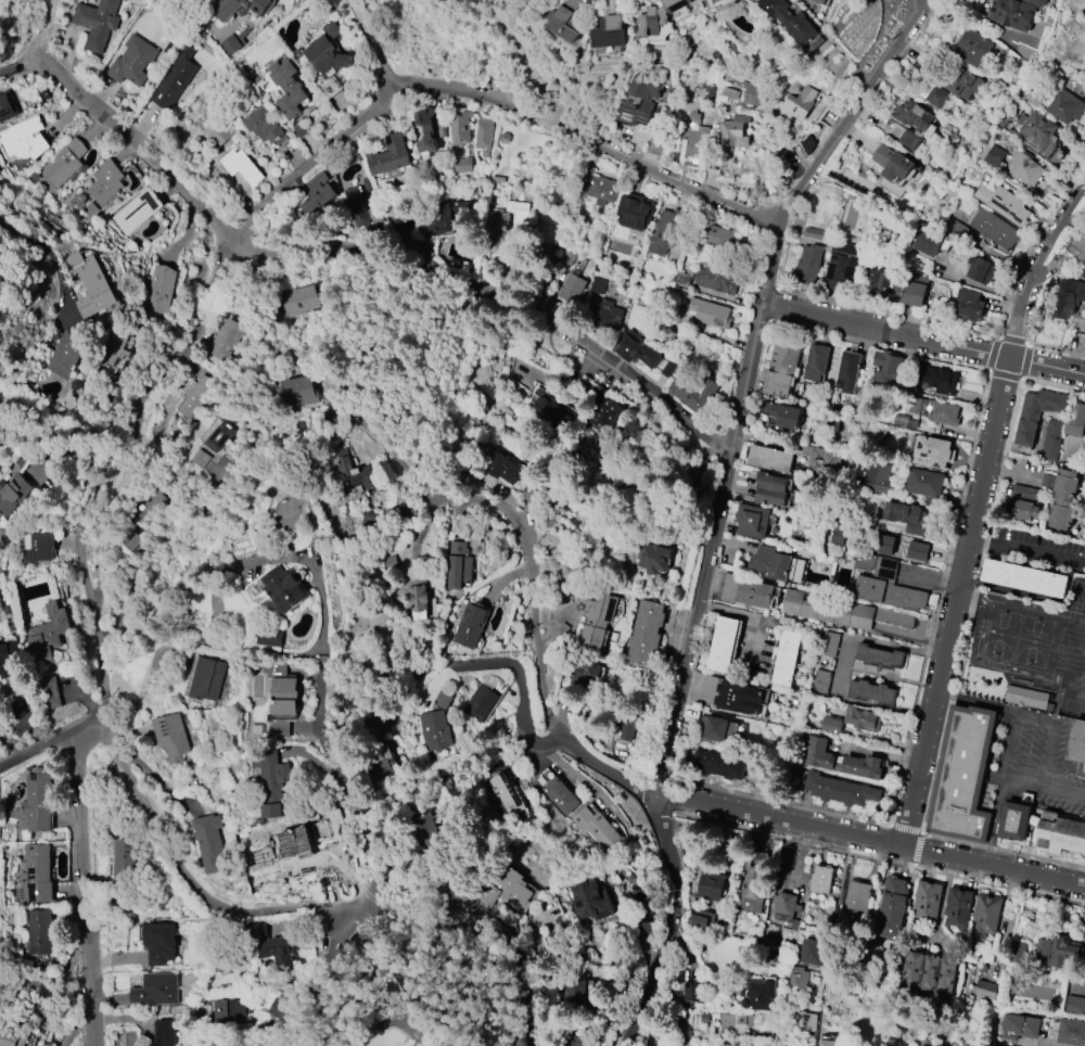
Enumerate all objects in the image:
building: (194, 0)
building: (820, 2)
building: (718, 4)
building: (239, 8)
building: (1016, 12)
building: (658, 20)
building: (791, 20)
building: (98, 22)
building: (564, 23)
road: (53, 30)
building: (609, 33)
road: (376, 42)
building: (233, 43)
building: (972, 47)
building: (132, 61)
building: (328, 61)
road: (529, 64)
road: (22, 66)
building: (175, 80)
building: (962, 82)
building: (288, 87)
building: (752, 91)
building: (935, 97)
building: (640, 100)
building: (800, 102)
building: (7, 105)
building: (1065, 106)
building: (912, 115)
building: (1003, 120)
building: (264, 126)
building: (431, 127)
building: (460, 128)
building: (736, 131)
building: (217, 132)
building: (1037, 132)
building: (484, 136)
building: (25, 139)
building: (909, 139)
road: (596, 141)
building: (694, 142)
building: (991, 154)
building: (390, 157)
building: (894, 163)
building: (66, 165)
building: (463, 165)
building: (242, 166)
building: (1024, 166)
building: (106, 181)
building: (599, 188)
building: (316, 196)
road: (276, 200)
building: (1005, 204)
building: (357, 206)
building: (137, 211)
building: (636, 211)
building: (448, 217)
road: (787, 219)
road: (1059, 219)
building: (994, 229)
building: (957, 230)
building: (664, 232)
building: (815, 233)
building: (718, 238)
building: (931, 242)
building: (1077, 248)
building: (955, 252)
road: (376, 259)
building: (809, 261)
road: (51, 264)
building: (981, 270)
building: (838, 272)
building: (1081, 272)
building: (883, 275)
road: (1021, 275)
building: (715, 280)
building: (88, 282)
building: (598, 284)
road: (771, 286)
building: (572, 288)
building: (161, 289)
building: (910, 290)
building: (1068, 298)
building: (302, 299)
road: (853, 304)
building: (971, 305)
road: (776, 306)
building: (711, 312)
building: (607, 314)
road: (766, 323)
building: (225, 339)
road: (923, 340)
road: (1013, 341)
building: (1084, 346)
building: (115, 347)
road: (882, 348)
building: (637, 349)
road: (1056, 350)
building: (67, 354)
road: (996, 355)
road: (1024, 361)
building: (816, 362)
building: (782, 367)
building: (885, 368)
building: (668, 369)
building: (847, 372)
road: (1007, 374)
building: (935, 380)
road: (1054, 385)
building: (180, 390)
building: (299, 392)
building: (693, 393)
building: (194, 396)
building: (931, 408)
building: (549, 410)
building: (601, 410)
road: (754, 410)
building: (1035, 414)
building: (787, 416)
building: (899, 420)
building: (1074, 420)
building: (219, 435)
building: (1051, 439)
building: (931, 451)
building: (770, 459)
road: (396, 462)
building: (503, 469)
building: (355, 471)
building: (877, 475)
building: (1048, 480)
building: (924, 483)
building: (1067, 484)
building: (773, 489)
building: (13, 494)
road: (728, 494)
building: (157, 502)
building: (1023, 503)
road: (717, 509)
road: (978, 510)
building: (1061, 514)
building: (910, 518)
building: (751, 521)
building: (885, 543)
building: (36, 546)
building: (917, 550)
road: (1023, 550)
building: (652, 558)
building: (387, 563)
building: (776, 564)
building: (458, 565)
building: (1025, 578)
building: (884, 583)
building: (281, 587)
road: (87, 588)
building: (746, 591)
building: (418, 597)
road: (941, 598)
road: (970, 605)
building: (840, 611)
road: (749, 617)
building: (595, 618)
building: (470, 624)
building: (561, 630)
building: (646, 632)
building: (48, 633)
road: (536, 635)
building: (270, 637)
building: (723, 645)
road: (270, 651)
building: (878, 656)
building: (786, 658)
building: (10, 659)
road: (322, 659)
building: (824, 663)
road: (477, 664)
road: (152, 672)
building: (586, 675)
building: (206, 678)
building: (282, 691)
building: (871, 691)
building: (49, 692)
building: (1027, 694)
building: (738, 698)
building: (442, 699)
building: (480, 703)
building: (863, 719)
road: (1049, 723)
building: (831, 725)
building: (714, 729)
building: (433, 730)
building: (630, 735)
building: (171, 736)
road: (533, 740)
road: (44, 743)
building: (1077, 748)
building: (818, 753)
building: (381, 764)
building: (719, 764)
building: (864, 767)
road: (1005, 767)
road: (664, 775)
building: (962, 776)
building: (271, 782)
road: (591, 786)
building: (557, 790)
building: (839, 790)
building: (503, 792)
road: (673, 794)
building: (37, 801)
road: (780, 801)
road: (668, 817)
building: (1016, 818)
road: (994, 820)
building: (424, 828)
building: (596, 828)
road: (906, 829)
building: (1061, 835)
road: (869, 839)
road: (792, 841)
building: (210, 843)
building: (296, 843)
road: (917, 850)
road: (1003, 850)
building: (127, 859)
building: (35, 873)
road: (188, 879)
building: (821, 879)
building: (710, 885)
road: (998, 885)
road: (80, 891)
building: (508, 891)
building: (751, 891)
building: (857, 897)
building: (926, 901)
building: (591, 902)
building: (957, 907)
building: (892, 908)
building: (787, 909)
building: (985, 915)
building: (699, 919)
building: (38, 932)
road: (489, 933)
building: (159, 943)
building: (1019, 949)
building: (812, 952)
building: (1059, 953)
building: (282, 955)
building: (911, 970)
building: (928, 973)
building: (944, 975)
road: (318, 977)
road: (405, 987)
building: (156, 990)
building: (985, 990)
building: (578, 993)
building: (693, 993)
building: (759, 996)
building: (1075, 1005)
building: (279, 1008)
building: (229, 1009)
road: (90, 1019)
building: (807, 1022)
building: (735, 1023)
building: (1020, 1028)
building: (1071, 1031)
building: (163, 1033)
building: (12, 1038)
building: (572, 1041)
building: (830, 1042)
road: (1023, 1045)

